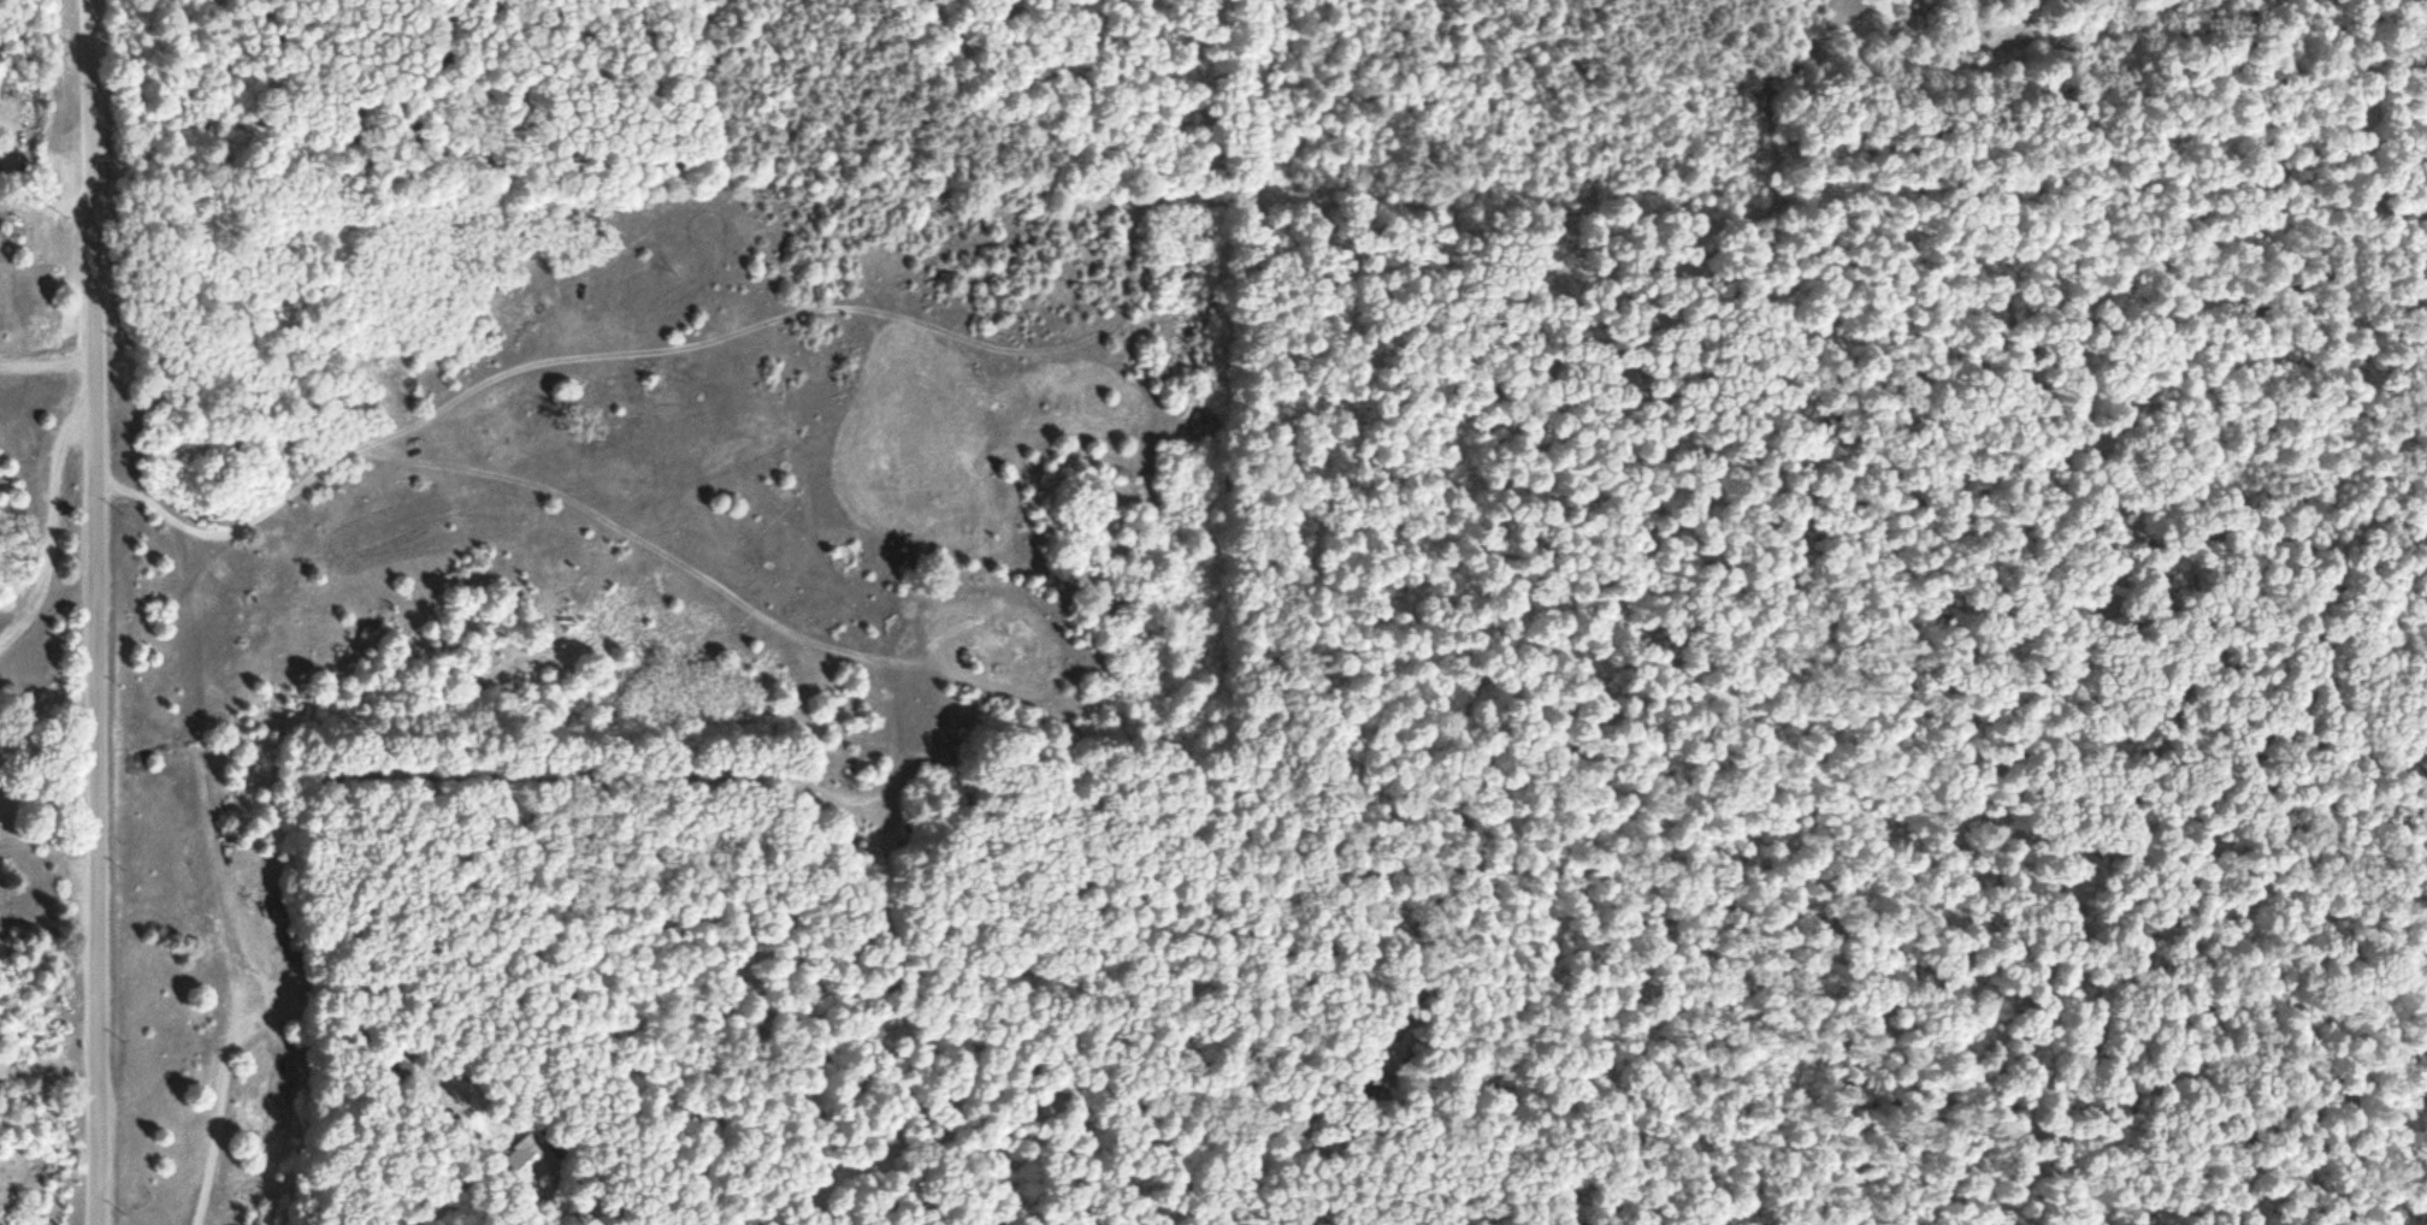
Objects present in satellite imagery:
road: (695, 436)
road: (98, 611)
building: (389, 1067)
building: (528, 1159)

